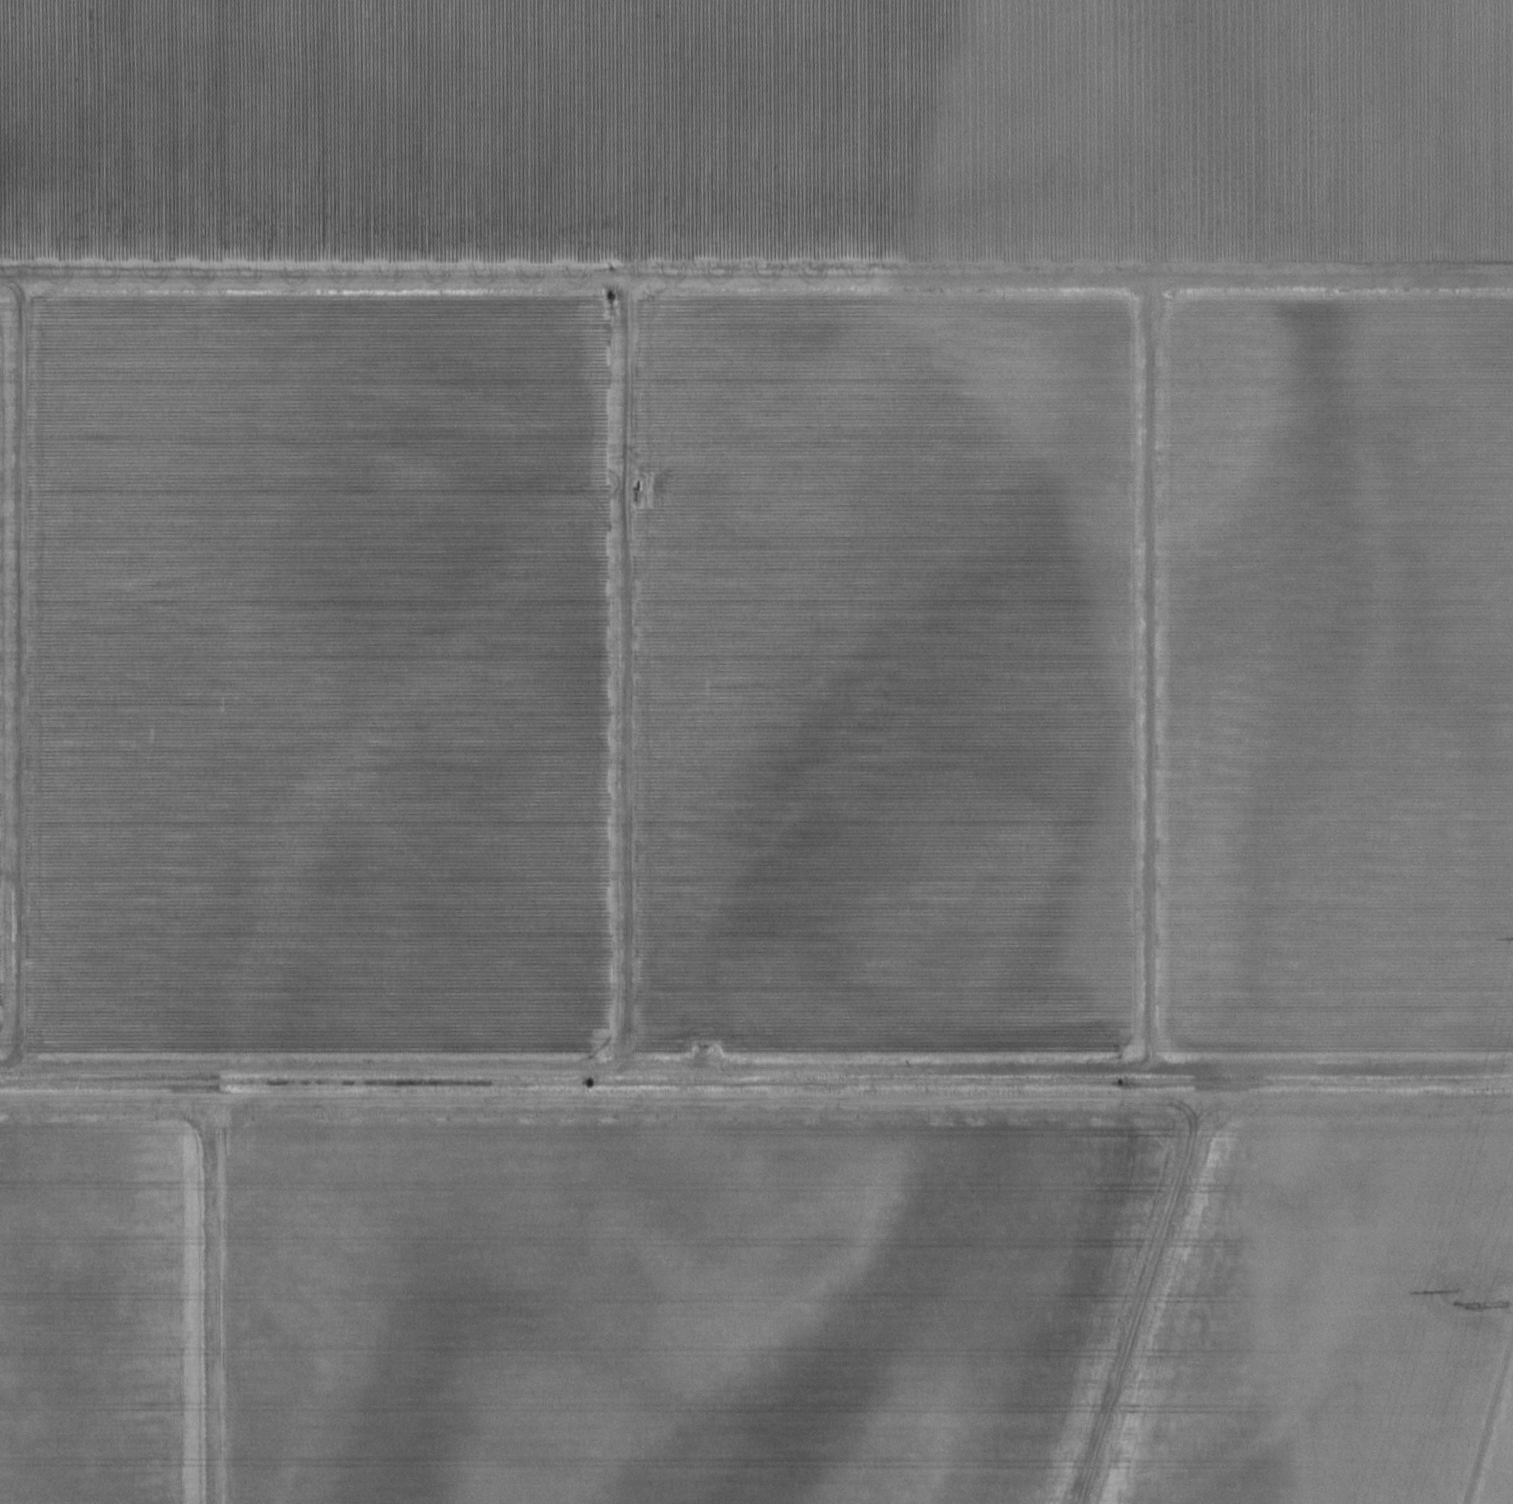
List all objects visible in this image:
road: (756, 477)
road: (309, 764)
road: (756, 1043)
power tower: (1506, 1303)

